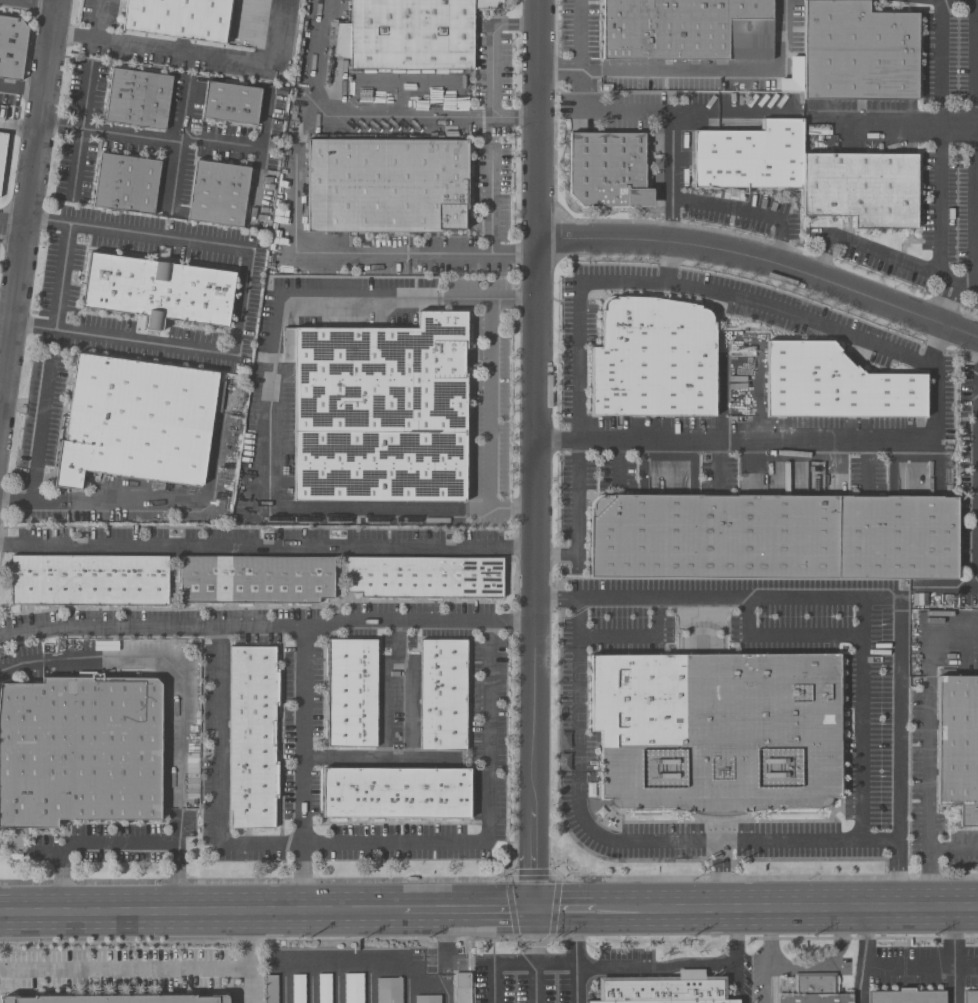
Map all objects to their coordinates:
road: (976, 0)
road: (45, 1)
building: (179, 18)
road: (103, 19)
building: (687, 30)
building: (410, 34)
building: (12, 47)
road: (191, 50)
building: (854, 53)
road: (581, 55)
road: (491, 69)
road: (714, 72)
road: (22, 87)
building: (138, 99)
building: (231, 104)
road: (626, 112)
road: (347, 114)
road: (539, 118)
road: (676, 119)
road: (900, 125)
road: (81, 130)
road: (141, 136)
road: (941, 138)
road: (220, 140)
road: (974, 144)
building: (2, 153)
building: (607, 170)
building: (809, 174)
road: (175, 175)
building: (126, 184)
building: (387, 186)
building: (218, 194)
road: (28, 204)
road: (491, 204)
road: (749, 214)
road: (12, 225)
road: (366, 256)
road: (818, 258)
road: (666, 262)
road: (763, 263)
road: (902, 263)
road: (62, 276)
building: (158, 291)
road: (939, 299)
road: (242, 302)
road: (951, 304)
road: (6, 310)
road: (938, 346)
road: (906, 356)
building: (654, 360)
road: (1, 386)
building: (836, 386)
road: (723, 391)
road: (758, 392)
road: (490, 400)
road: (271, 407)
building: (379, 412)
building: (137, 422)
road: (42, 429)
road: (618, 465)
road: (718, 465)
road: (868, 465)
road: (158, 500)
road: (576, 519)
building: (773, 537)
road: (267, 548)
road: (534, 575)
building: (423, 578)
building: (256, 580)
building: (89, 581)
road: (874, 597)
road: (267, 624)
road: (788, 634)
road: (635, 637)
road: (172, 668)
road: (385, 685)
building: (351, 694)
building: (442, 696)
road: (411, 710)
road: (929, 717)
road: (865, 719)
building: (716, 731)
road: (304, 733)
building: (252, 738)
building: (958, 746)
building: (79, 751)
road: (378, 757)
building: (396, 793)
road: (579, 816)
road: (123, 842)
road: (354, 842)
road: (809, 842)
road: (44, 854)
road: (928, 856)
road: (303, 877)
road: (200, 912)
road: (465, 912)
road: (564, 912)
road: (788, 913)
road: (576, 938)
road: (737, 940)
road: (446, 947)
road: (249, 957)
road: (769, 958)
road: (864, 958)
road: (954, 958)
road: (517, 961)
road: (824, 963)
road: (966, 964)
road: (349, 965)
road: (652, 965)
road: (909, 965)
road: (125, 968)
road: (576, 984)
building: (464, 987)
building: (325, 988)
building: (354, 988)
building: (272, 989)
building: (299, 989)
building: (663, 989)
building: (389, 990)
building: (815, 990)
road: (447, 993)
building: (906, 997)
building: (970, 997)
building: (115, 999)
building: (429, 999)

